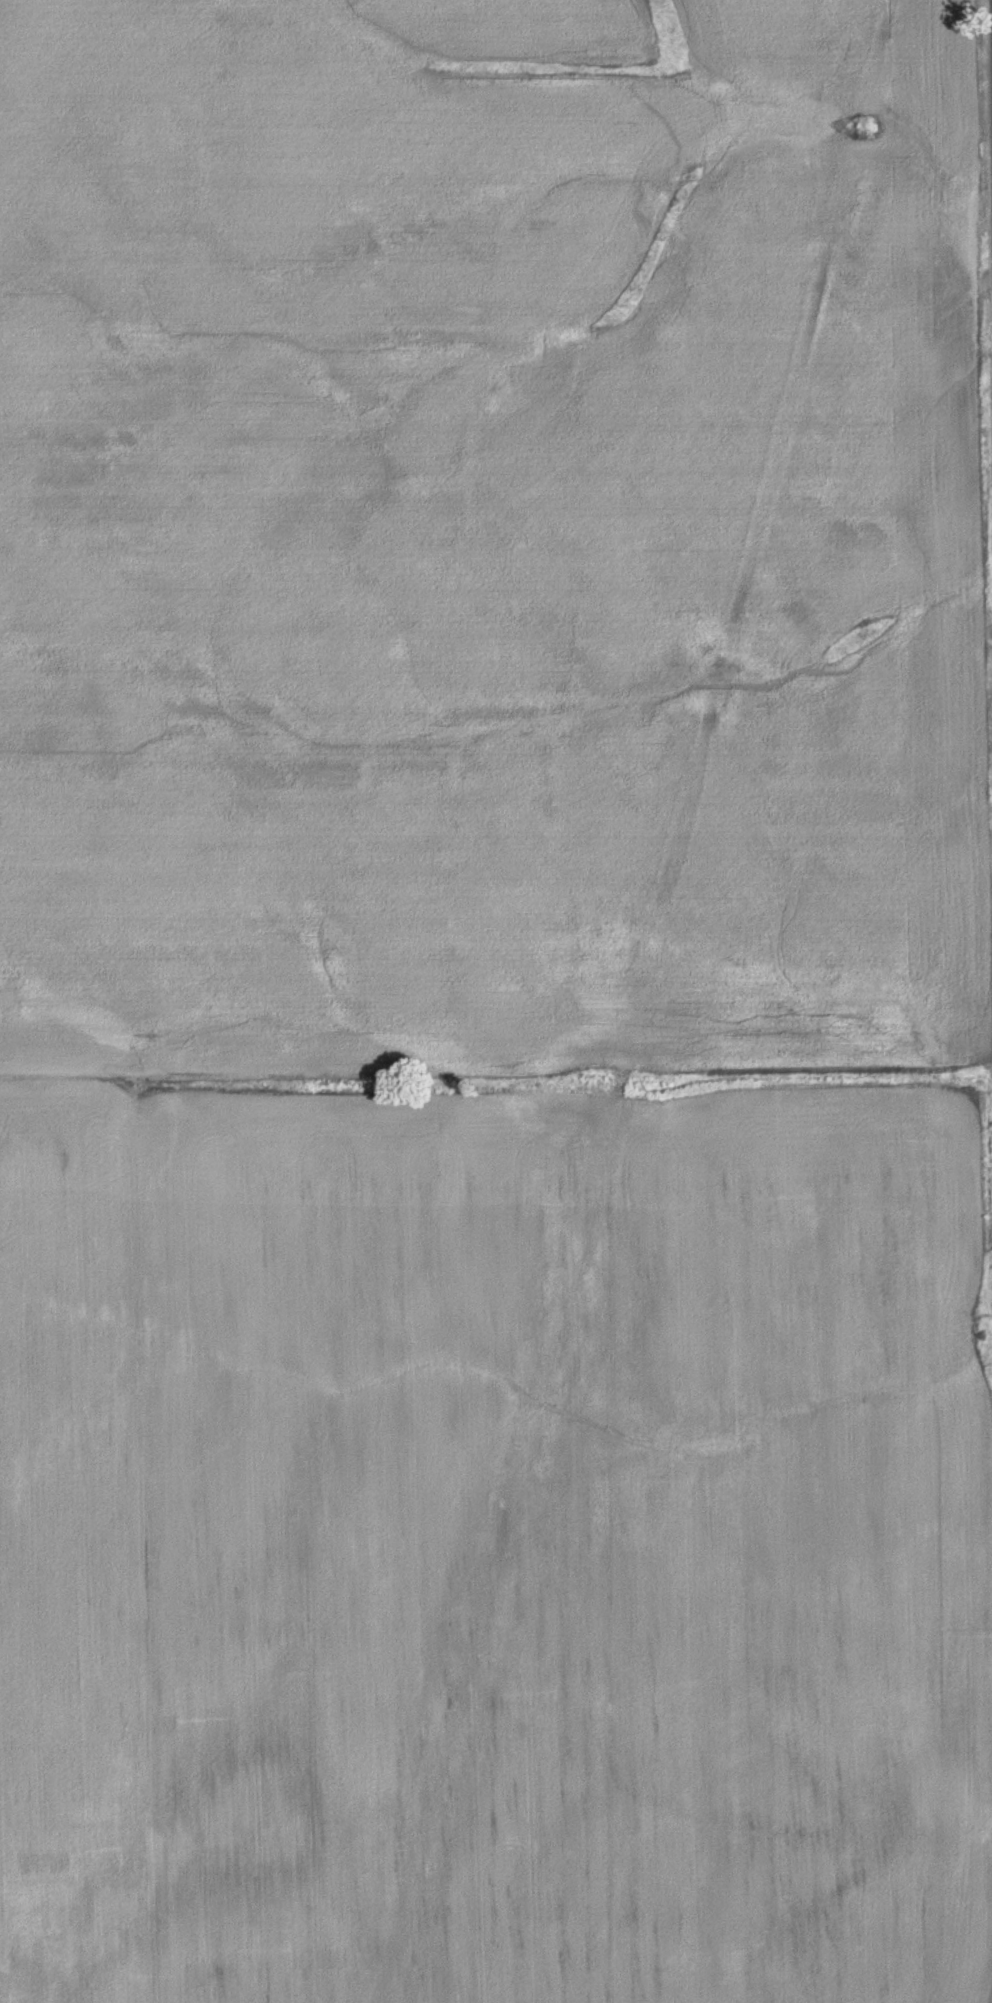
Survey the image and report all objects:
crop: (480, 532)
crop: (497, 1571)

